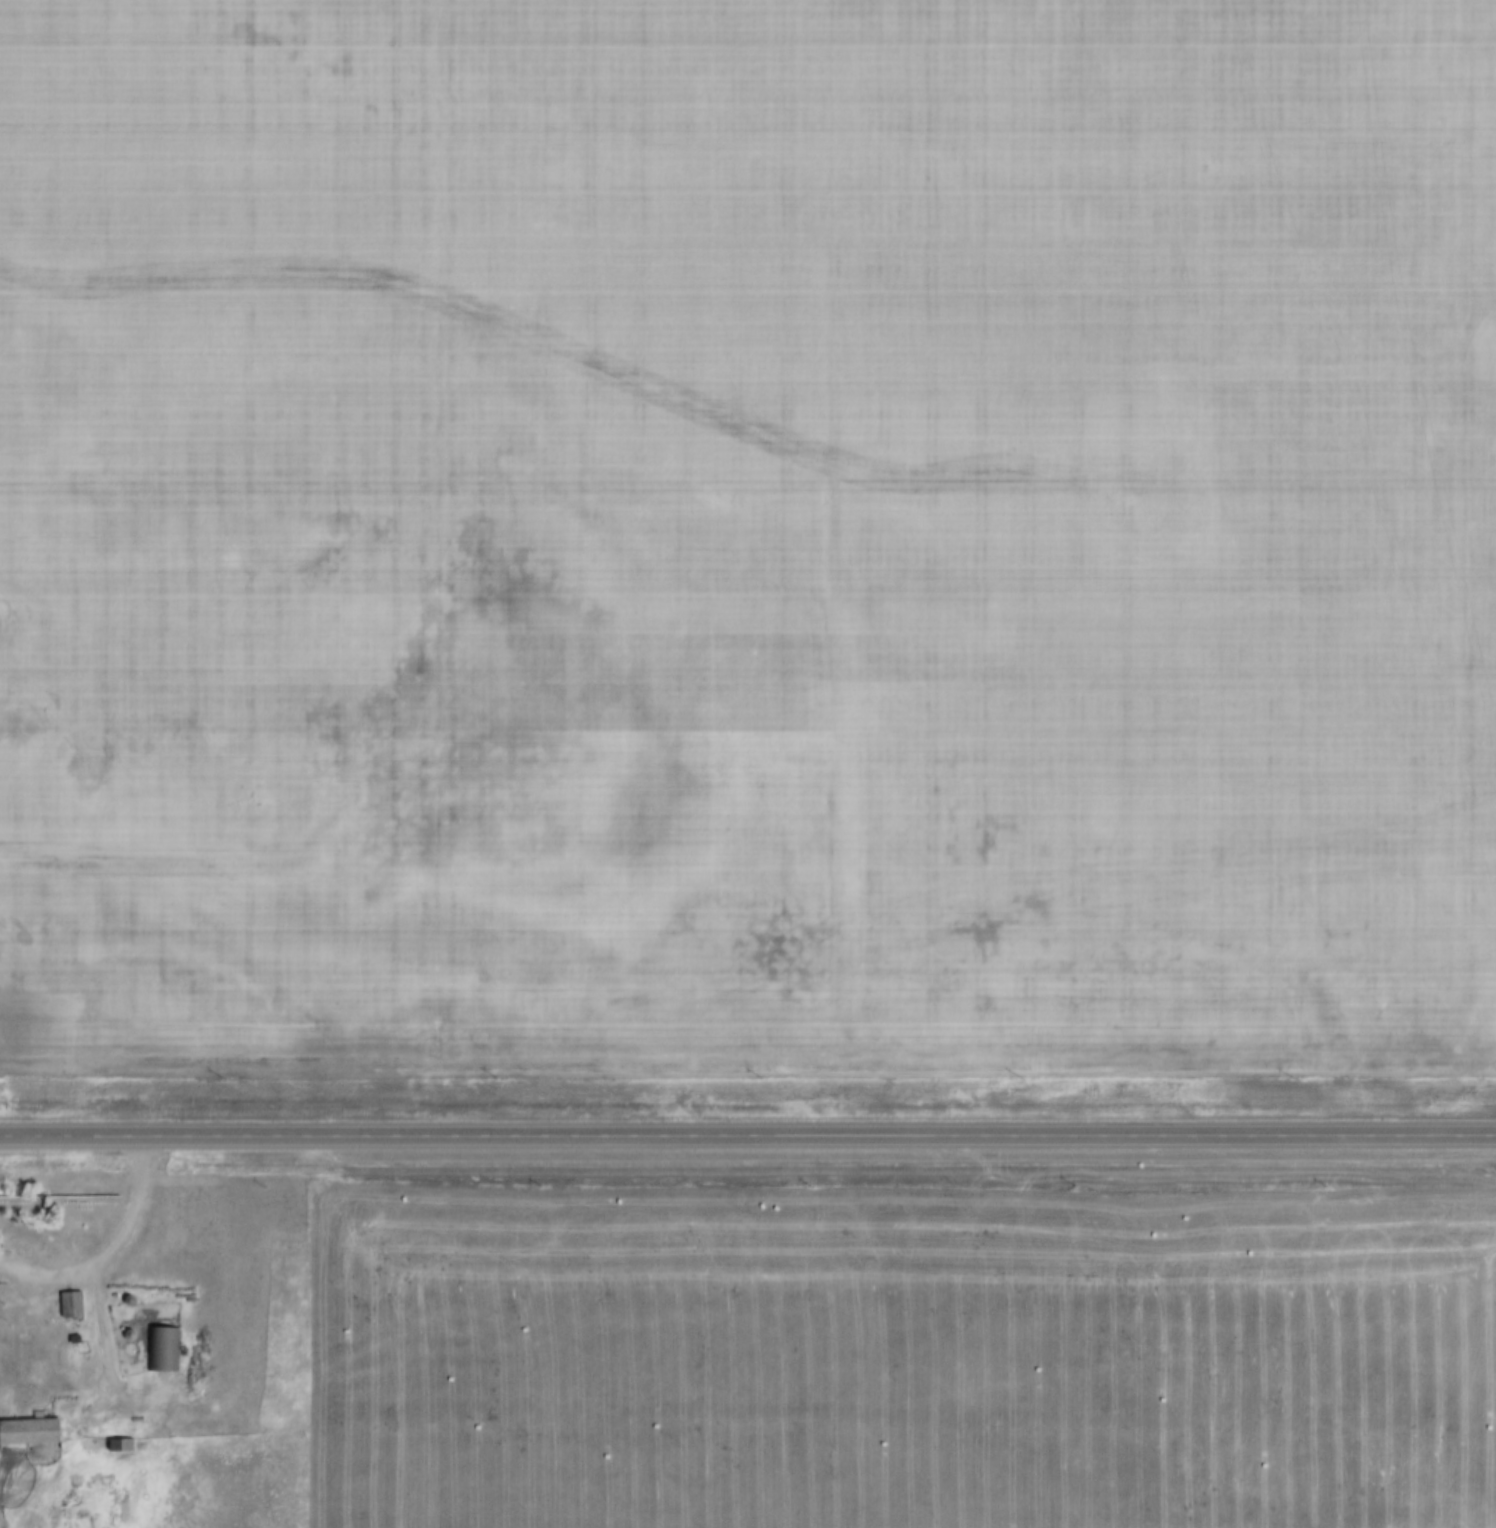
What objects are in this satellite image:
road: (747, 1133)
road: (122, 1233)
building: (69, 1304)
building: (162, 1348)
building: (29, 1431)
building: (119, 1445)

